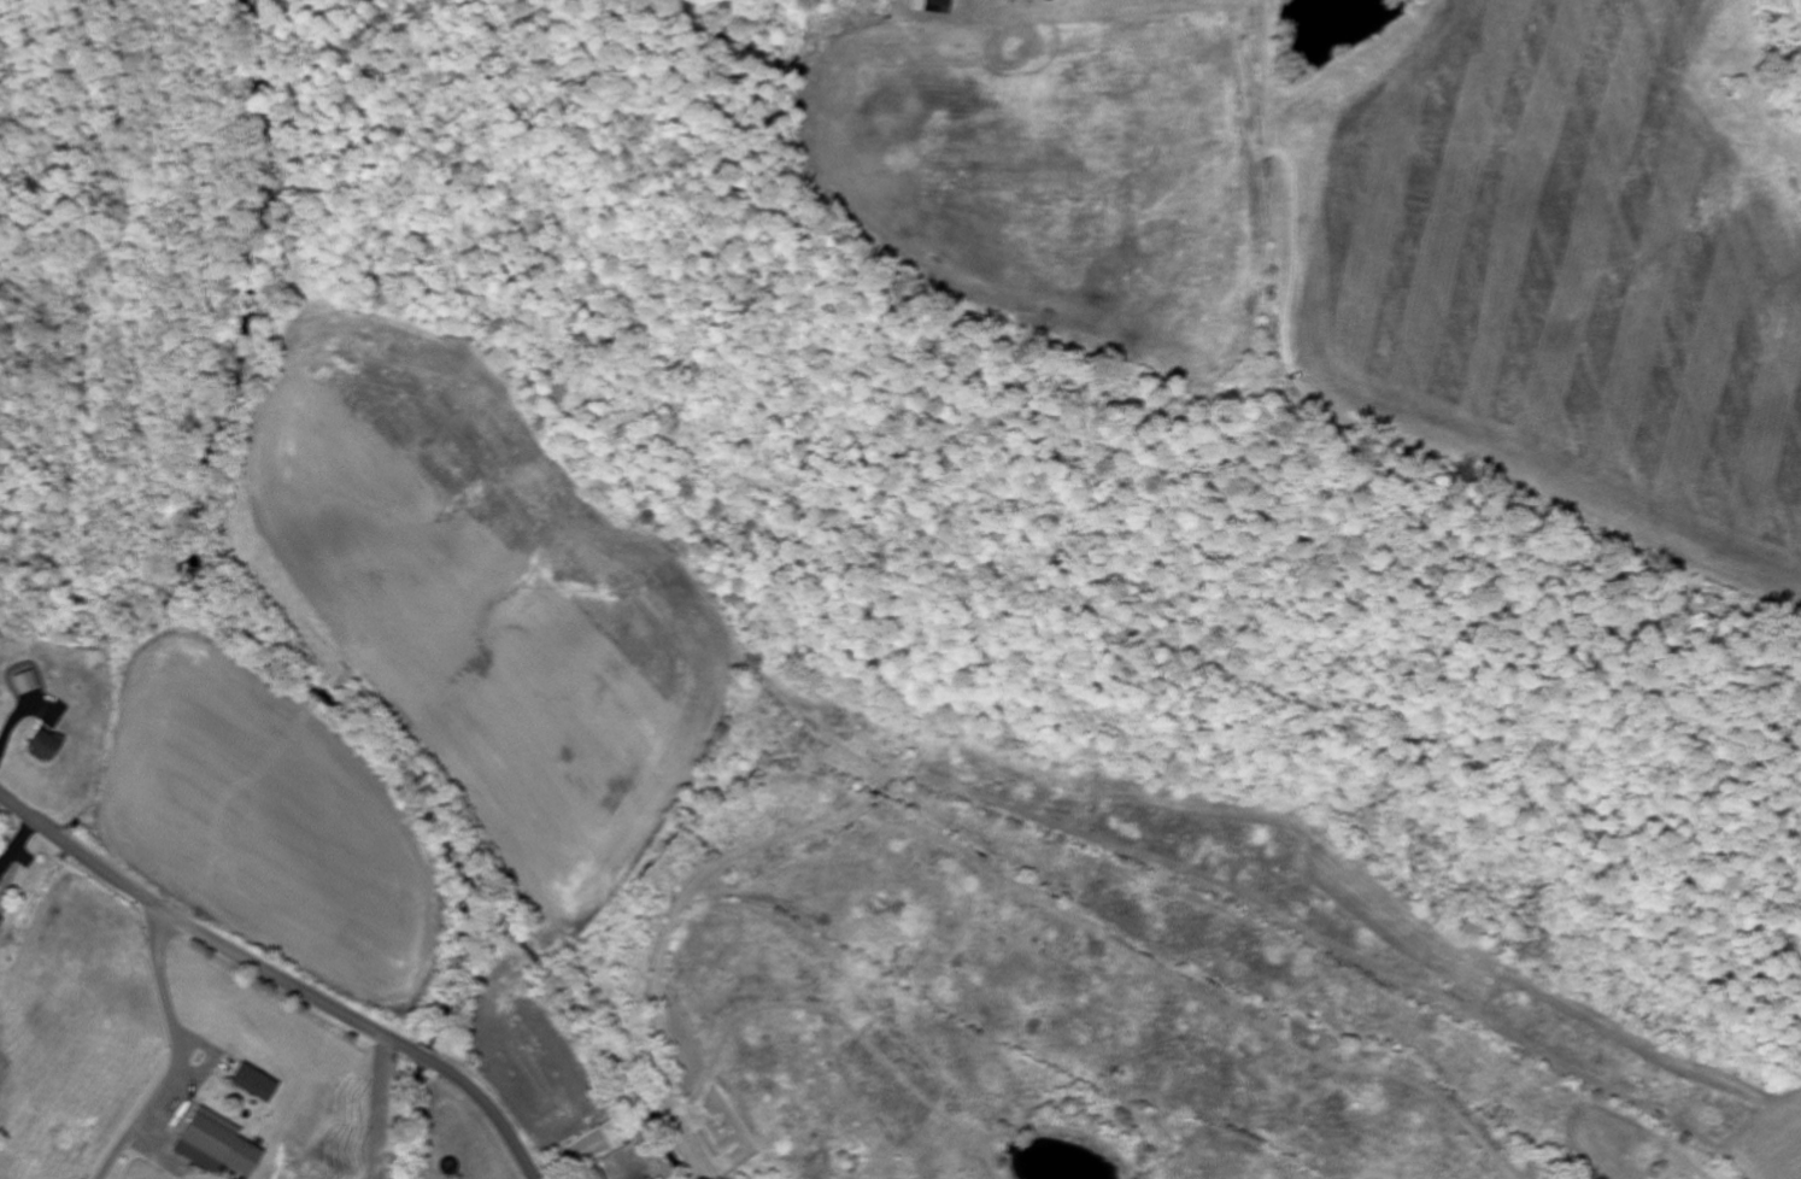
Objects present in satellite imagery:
building: (931, 7)
building: (24, 684)
building: (40, 747)
building: (0, 923)
road: (276, 980)
building: (252, 1085)
building: (213, 1145)

